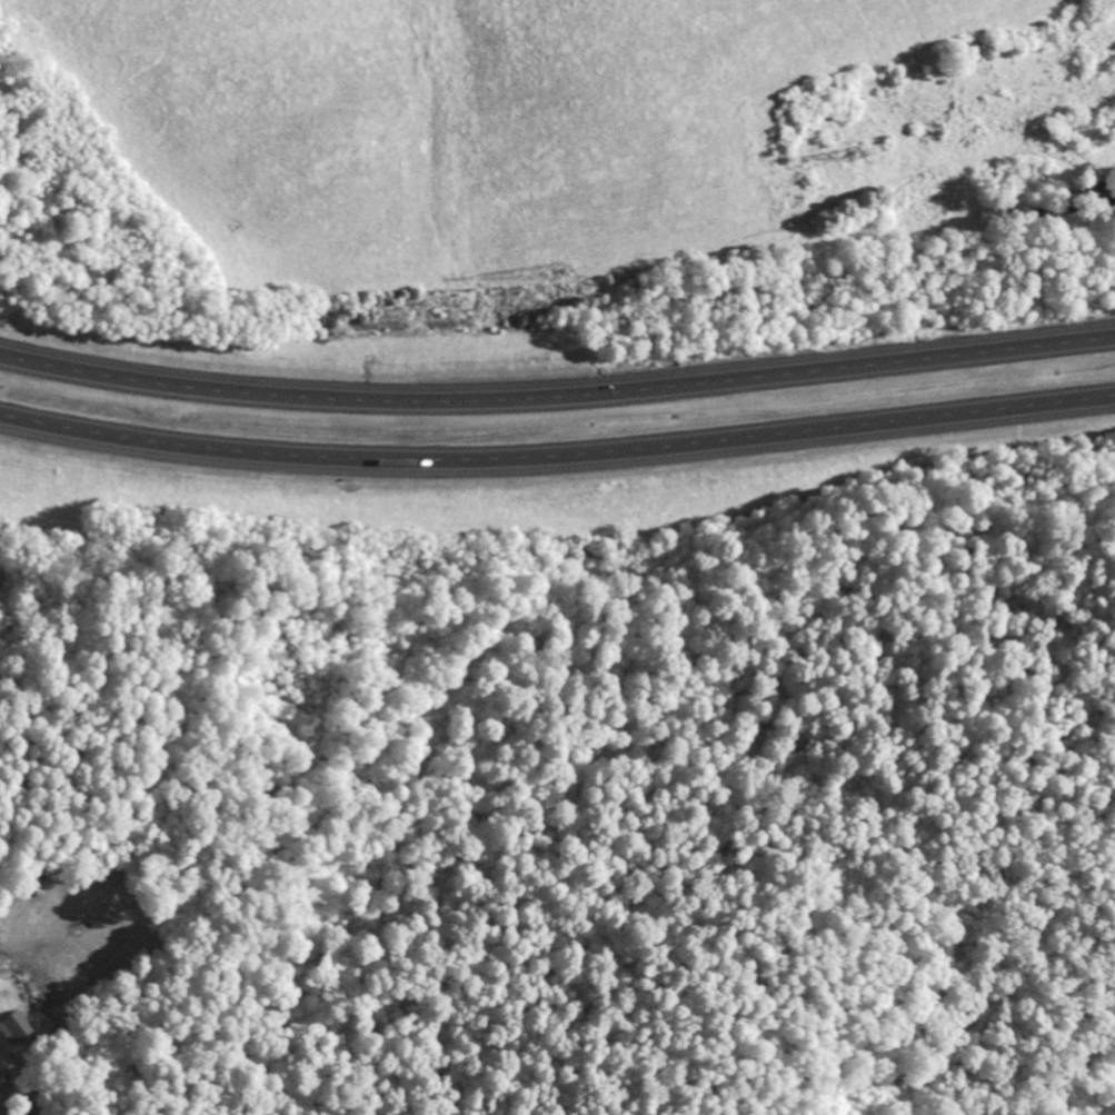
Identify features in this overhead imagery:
road: (557, 398)
road: (557, 458)
road: (417, 796)
building: (14, 1026)

